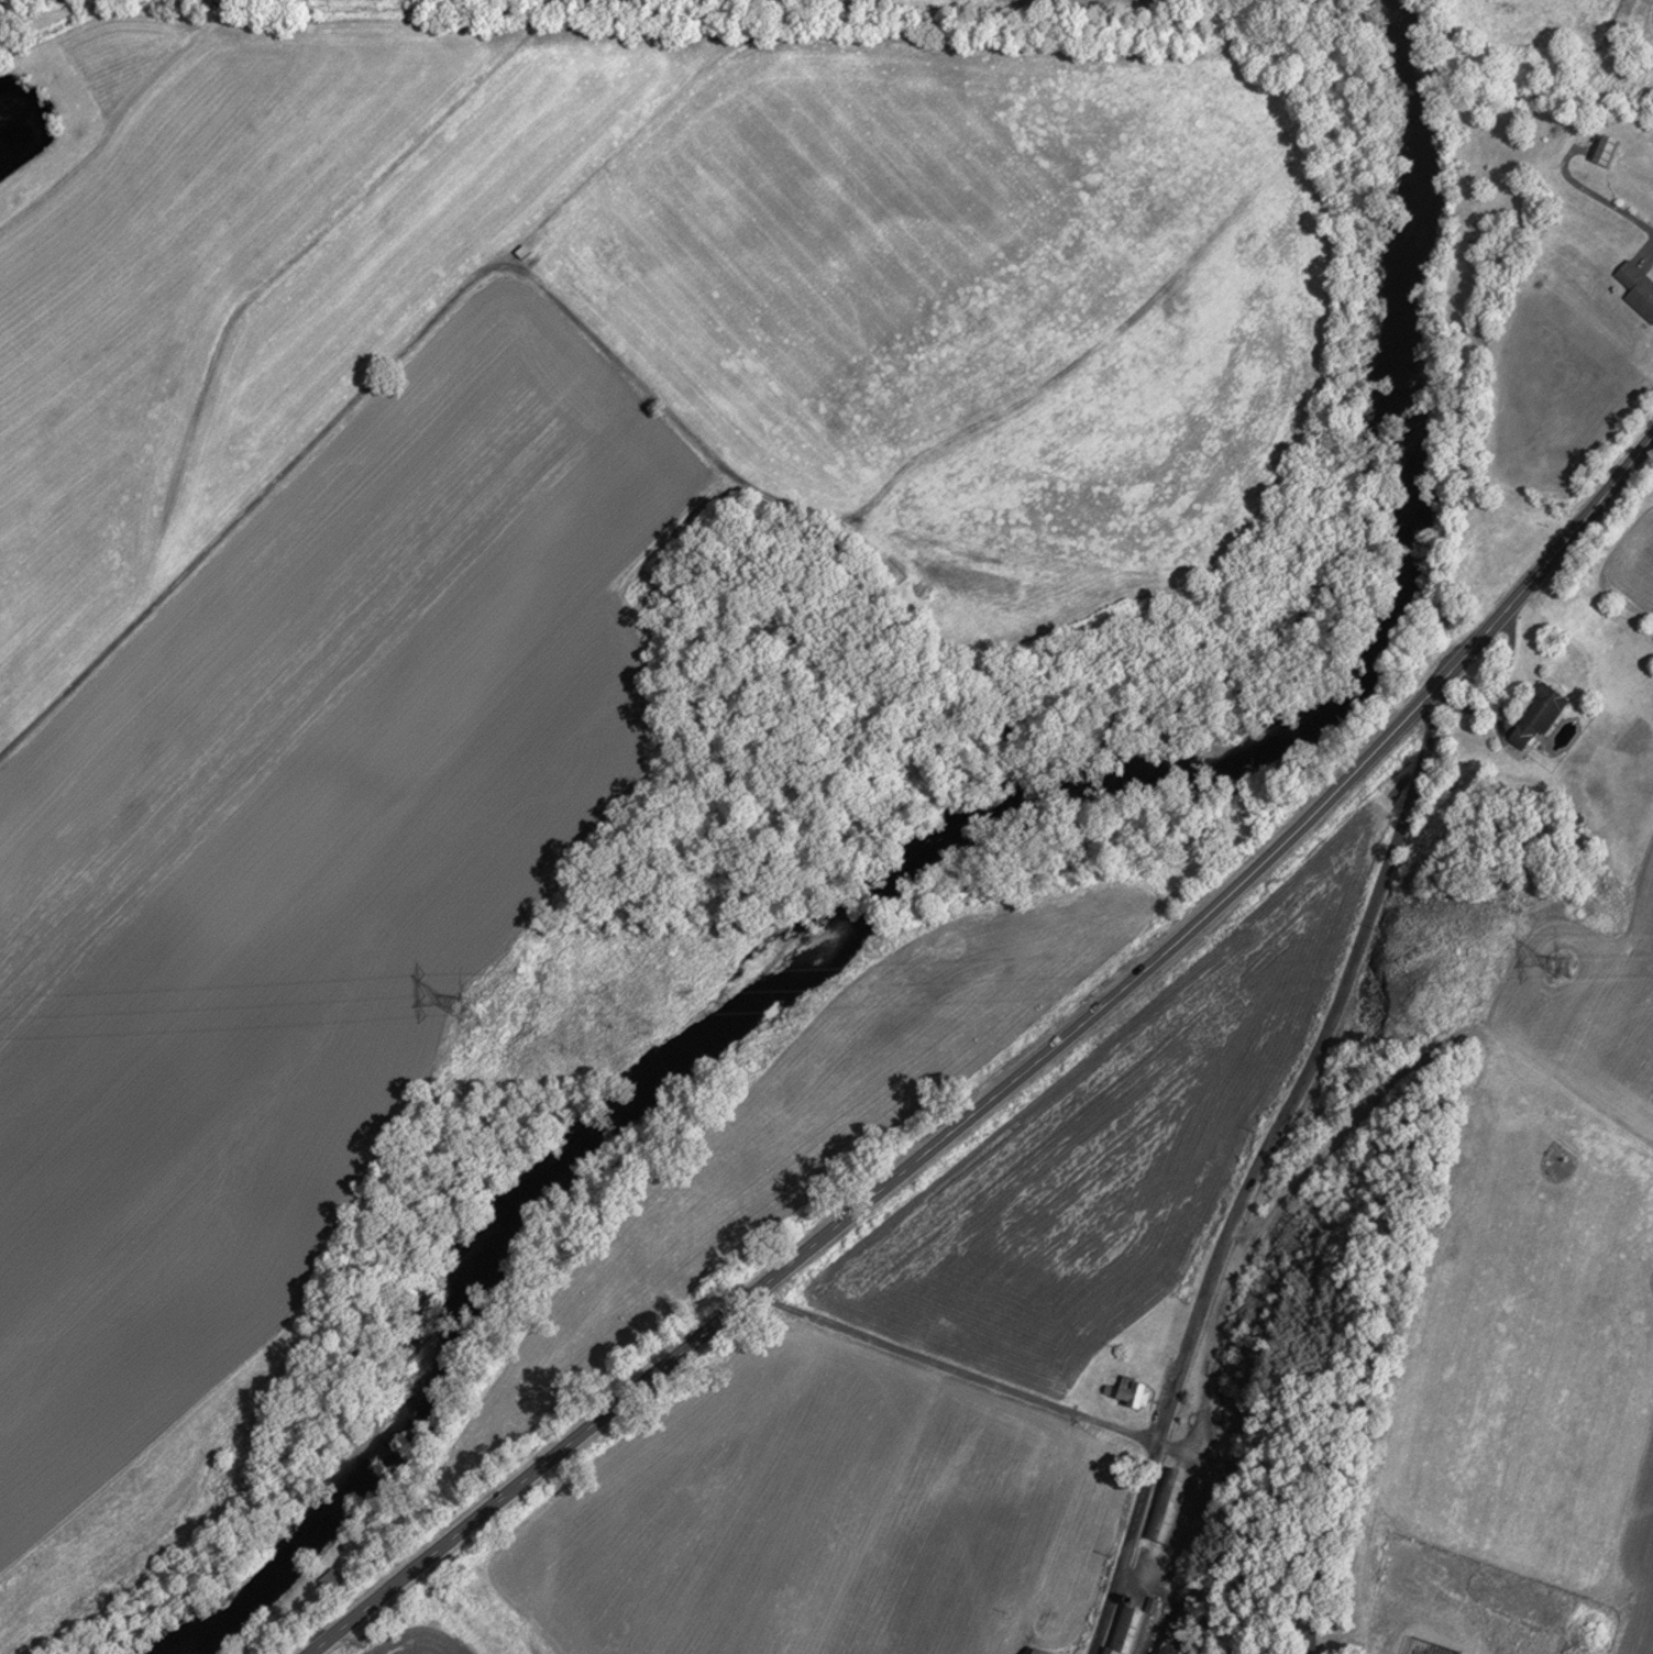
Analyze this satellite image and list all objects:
building: (1605, 148)
building: (1638, 287)
road: (569, 311)
river: (1354, 652)
road: (1406, 714)
building: (1536, 716)
power tower: (1560, 961)
power tower: (472, 1004)
road: (1253, 1169)
road: (720, 1314)
road: (955, 1363)
building: (1127, 1392)
building: (1166, 1503)
building: (332, 1584)
building: (1126, 1630)
building: (1305, 1635)

